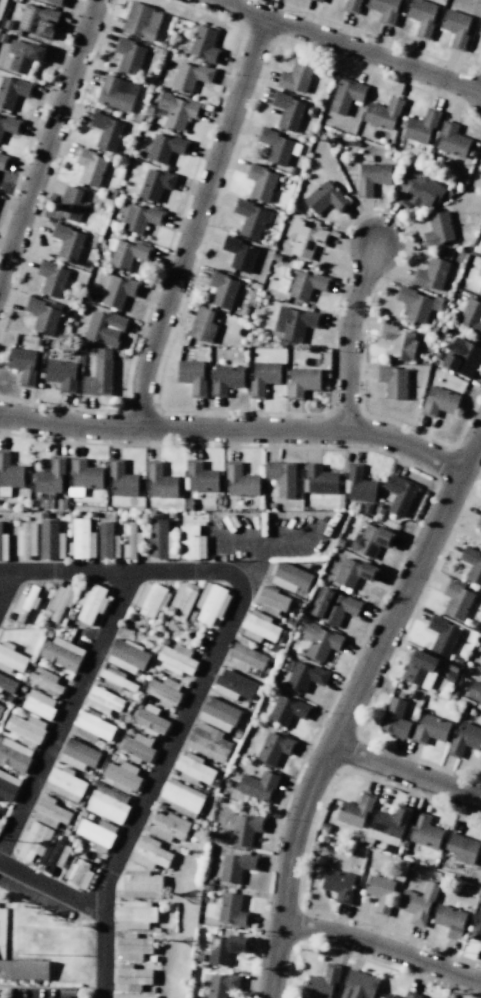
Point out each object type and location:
building: (317, 0)
building: (55, 2)
building: (1, 4)
building: (352, 5)
building: (384, 9)
building: (422, 16)
building: (38, 21)
building: (139, 21)
building: (456, 27)
building: (479, 29)
building: (204, 44)
road: (348, 46)
building: (23, 55)
building: (129, 56)
building: (190, 76)
building: (296, 77)
building: (12, 91)
building: (116, 93)
building: (345, 95)
building: (287, 110)
building: (177, 111)
building: (383, 113)
building: (9, 125)
building: (421, 127)
building: (105, 130)
road: (48, 138)
building: (450, 139)
building: (275, 146)
building: (164, 147)
building: (3, 162)
building: (480, 163)
building: (90, 167)
building: (371, 177)
building: (260, 182)
building: (156, 183)
building: (416, 189)
building: (326, 197)
building: (70, 204)
building: (140, 218)
building: (249, 218)
road: (194, 220)
building: (437, 228)
building: (306, 239)
building: (67, 242)
building: (126, 253)
building: (239, 253)
building: (431, 274)
building: (51, 277)
building: (307, 285)
building: (222, 289)
building: (479, 289)
building: (116, 290)
building: (414, 303)
building: (41, 315)
building: (471, 316)
building: (296, 322)
building: (202, 325)
building: (105, 327)
road: (347, 333)
building: (397, 341)
building: (461, 357)
building: (23, 365)
building: (63, 374)
building: (99, 374)
building: (192, 376)
building: (263, 377)
building: (226, 379)
building: (302, 381)
building: (392, 381)
building: (439, 402)
road: (234, 427)
building: (10, 471)
building: (84, 474)
building: (49, 476)
building: (200, 476)
building: (281, 477)
building: (121, 479)
building: (159, 480)
building: (318, 480)
building: (240, 481)
building: (359, 484)
building: (400, 494)
building: (479, 520)
building: (25, 539)
building: (158, 539)
building: (50, 540)
building: (81, 540)
building: (370, 540)
building: (107, 541)
building: (132, 542)
building: (191, 543)
building: (3, 546)
building: (472, 564)
road: (114, 571)
building: (354, 572)
building: (290, 578)
road: (7, 585)
building: (456, 599)
building: (150, 600)
building: (182, 600)
building: (60, 601)
building: (271, 602)
building: (90, 603)
building: (211, 603)
building: (24, 604)
building: (333, 606)
building: (260, 628)
building: (442, 635)
building: (320, 641)
building: (60, 653)
building: (126, 656)
building: (245, 658)
building: (10, 659)
building: (176, 659)
building: (420, 669)
building: (304, 676)
building: (45, 680)
building: (116, 680)
building: (7, 684)
building: (233, 685)
building: (474, 691)
building: (164, 692)
building: (103, 701)
building: (38, 704)
road: (349, 704)
building: (0, 708)
road: (66, 710)
building: (286, 710)
building: (218, 714)
building: (394, 718)
building: (150, 720)
building: (92, 727)
building: (26, 729)
building: (429, 729)
building: (464, 738)
building: (208, 742)
building: (137, 748)
building: (274, 748)
building: (78, 754)
building: (14, 755)
road: (405, 772)
building: (122, 776)
road: (154, 778)
building: (64, 784)
building: (258, 785)
building: (8, 786)
building: (110, 793)
building: (180, 798)
building: (106, 807)
building: (355, 809)
building: (49, 812)
building: (387, 825)
building: (167, 826)
building: (323, 826)
building: (245, 829)
building: (424, 831)
building: (96, 833)
building: (32, 842)
building: (462, 848)
building: (149, 853)
building: (55, 855)
building: (319, 861)
building: (236, 866)
building: (78, 874)
building: (140, 884)
building: (338, 885)
road: (50, 887)
building: (380, 893)
building: (418, 902)
building: (231, 910)
building: (134, 915)
building: (449, 920)
building: (476, 928)
building: (132, 947)
building: (225, 947)
road: (383, 949)
building: (24, 970)
building: (132, 977)
building: (322, 982)
building: (221, 985)
building: (358, 985)
building: (411, 995)
building: (134, 996)
building: (390, 996)
building: (429, 997)

